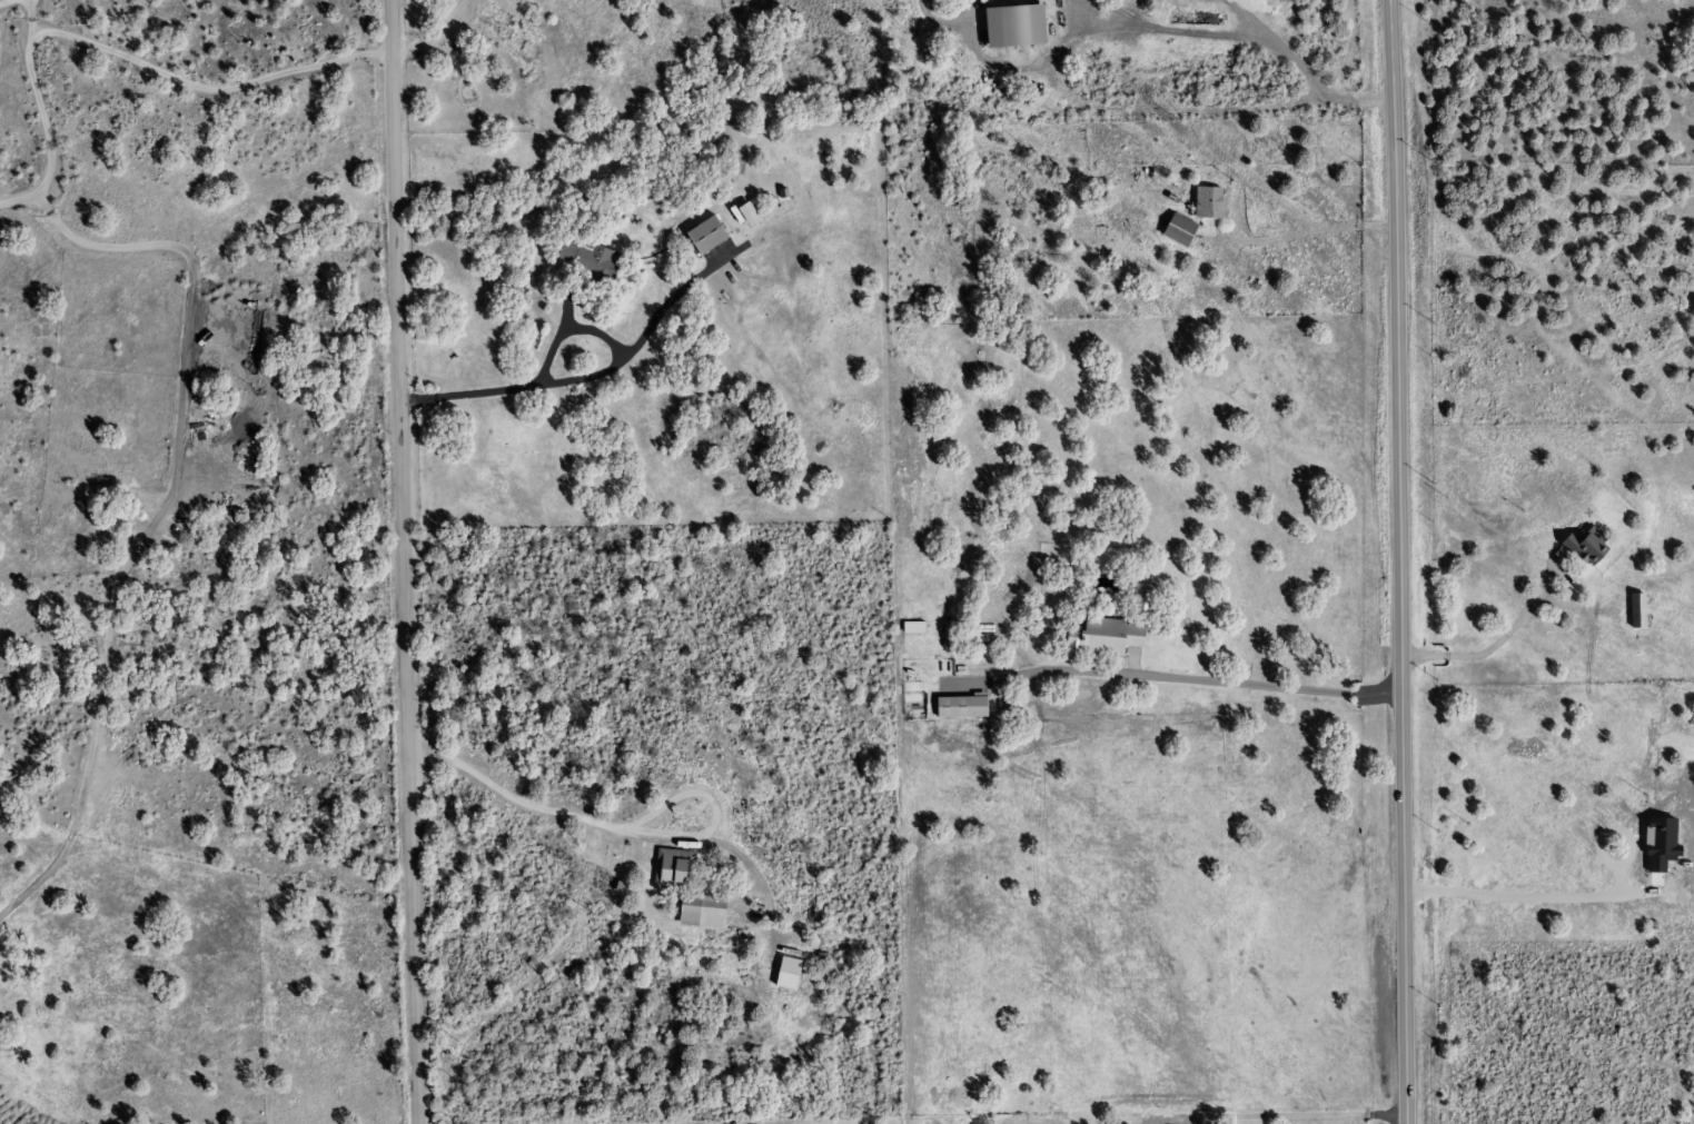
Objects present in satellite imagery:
building: (1009, 27)
road: (119, 54)
building: (1205, 202)
building: (1177, 231)
building: (703, 236)
building: (588, 260)
building: (100, 483)
building: (1584, 548)
road: (403, 561)
road: (1398, 561)
building: (1138, 600)
building: (1633, 611)
building: (911, 627)
building: (1098, 639)
road: (1198, 683)
building: (959, 707)
building: (672, 883)

